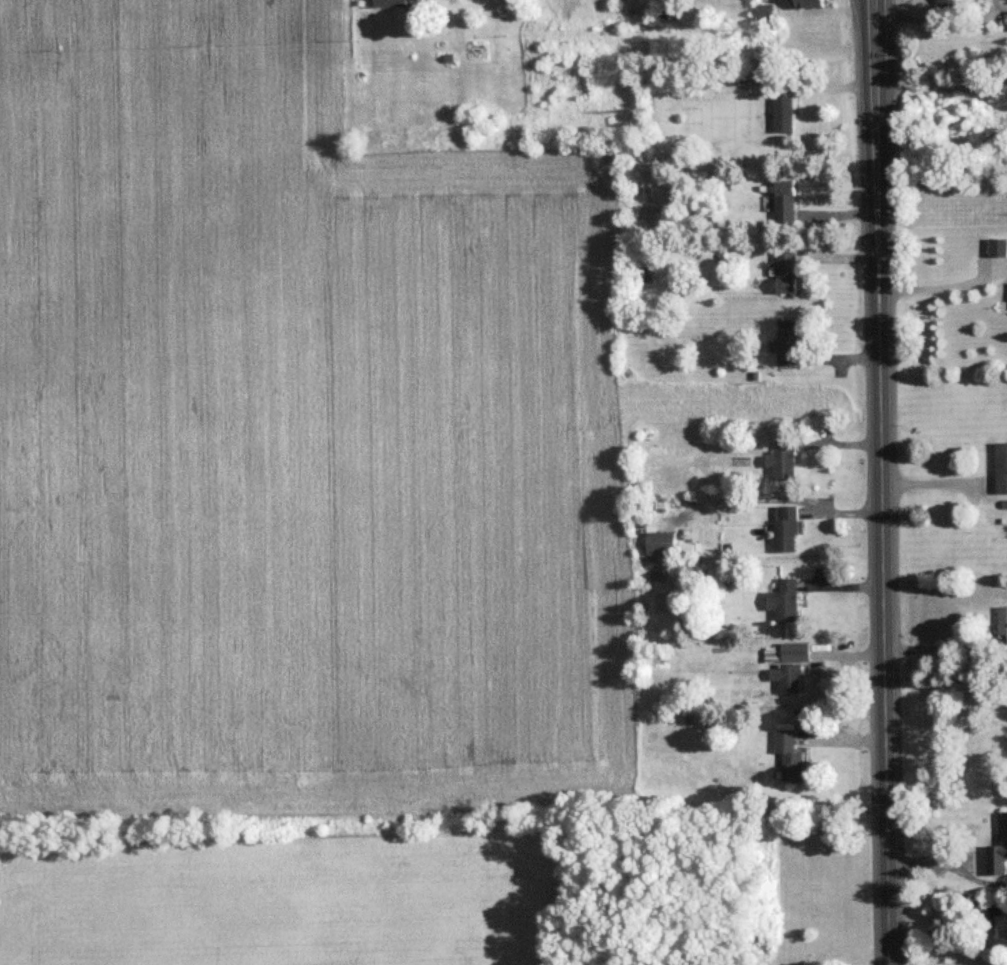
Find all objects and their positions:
building: (399, 2)
building: (809, 3)
road: (945, 23)
building: (783, 113)
road: (953, 175)
building: (784, 200)
building: (997, 246)
building: (784, 271)
road: (943, 285)
building: (785, 342)
building: (782, 457)
building: (1001, 466)
road: (938, 481)
road: (886, 482)
building: (784, 528)
building: (659, 542)
building: (784, 599)
building: (1002, 619)
road: (942, 646)
building: (790, 678)
building: (789, 755)
building: (998, 853)
building: (997, 919)

